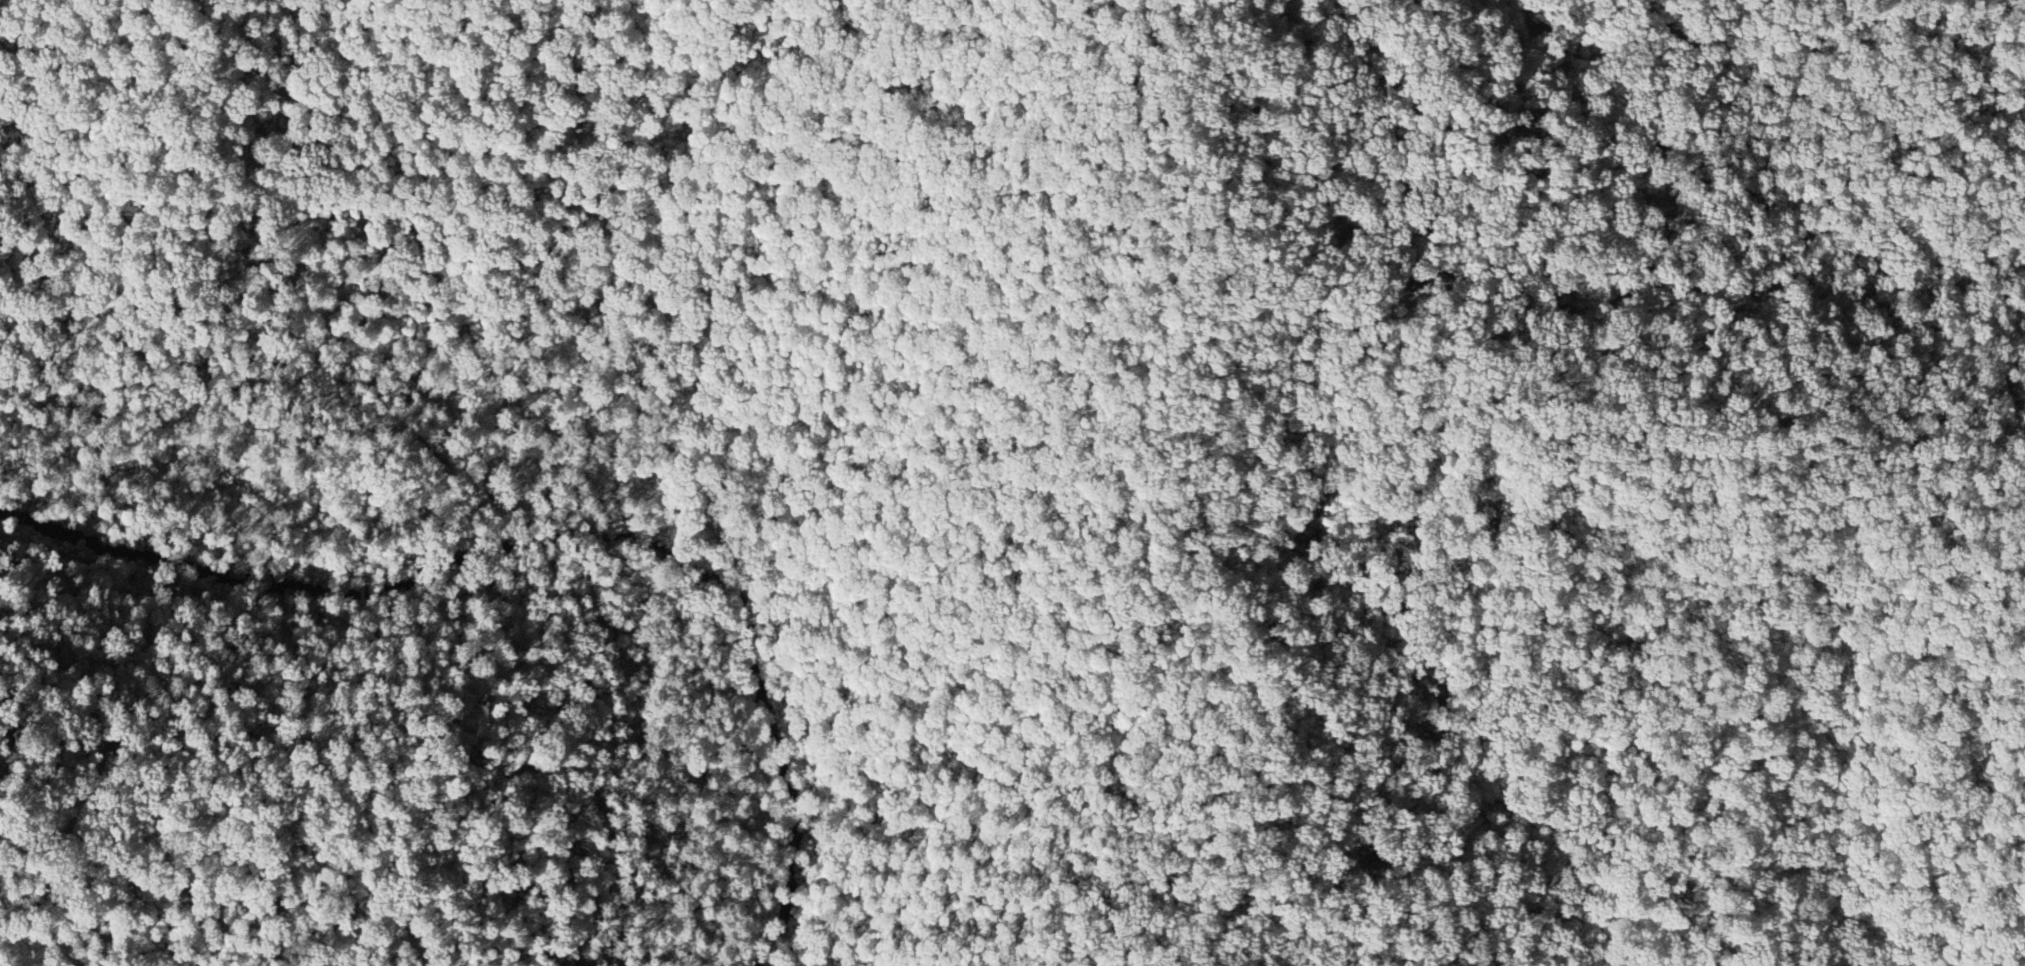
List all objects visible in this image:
road: (481, 491)

